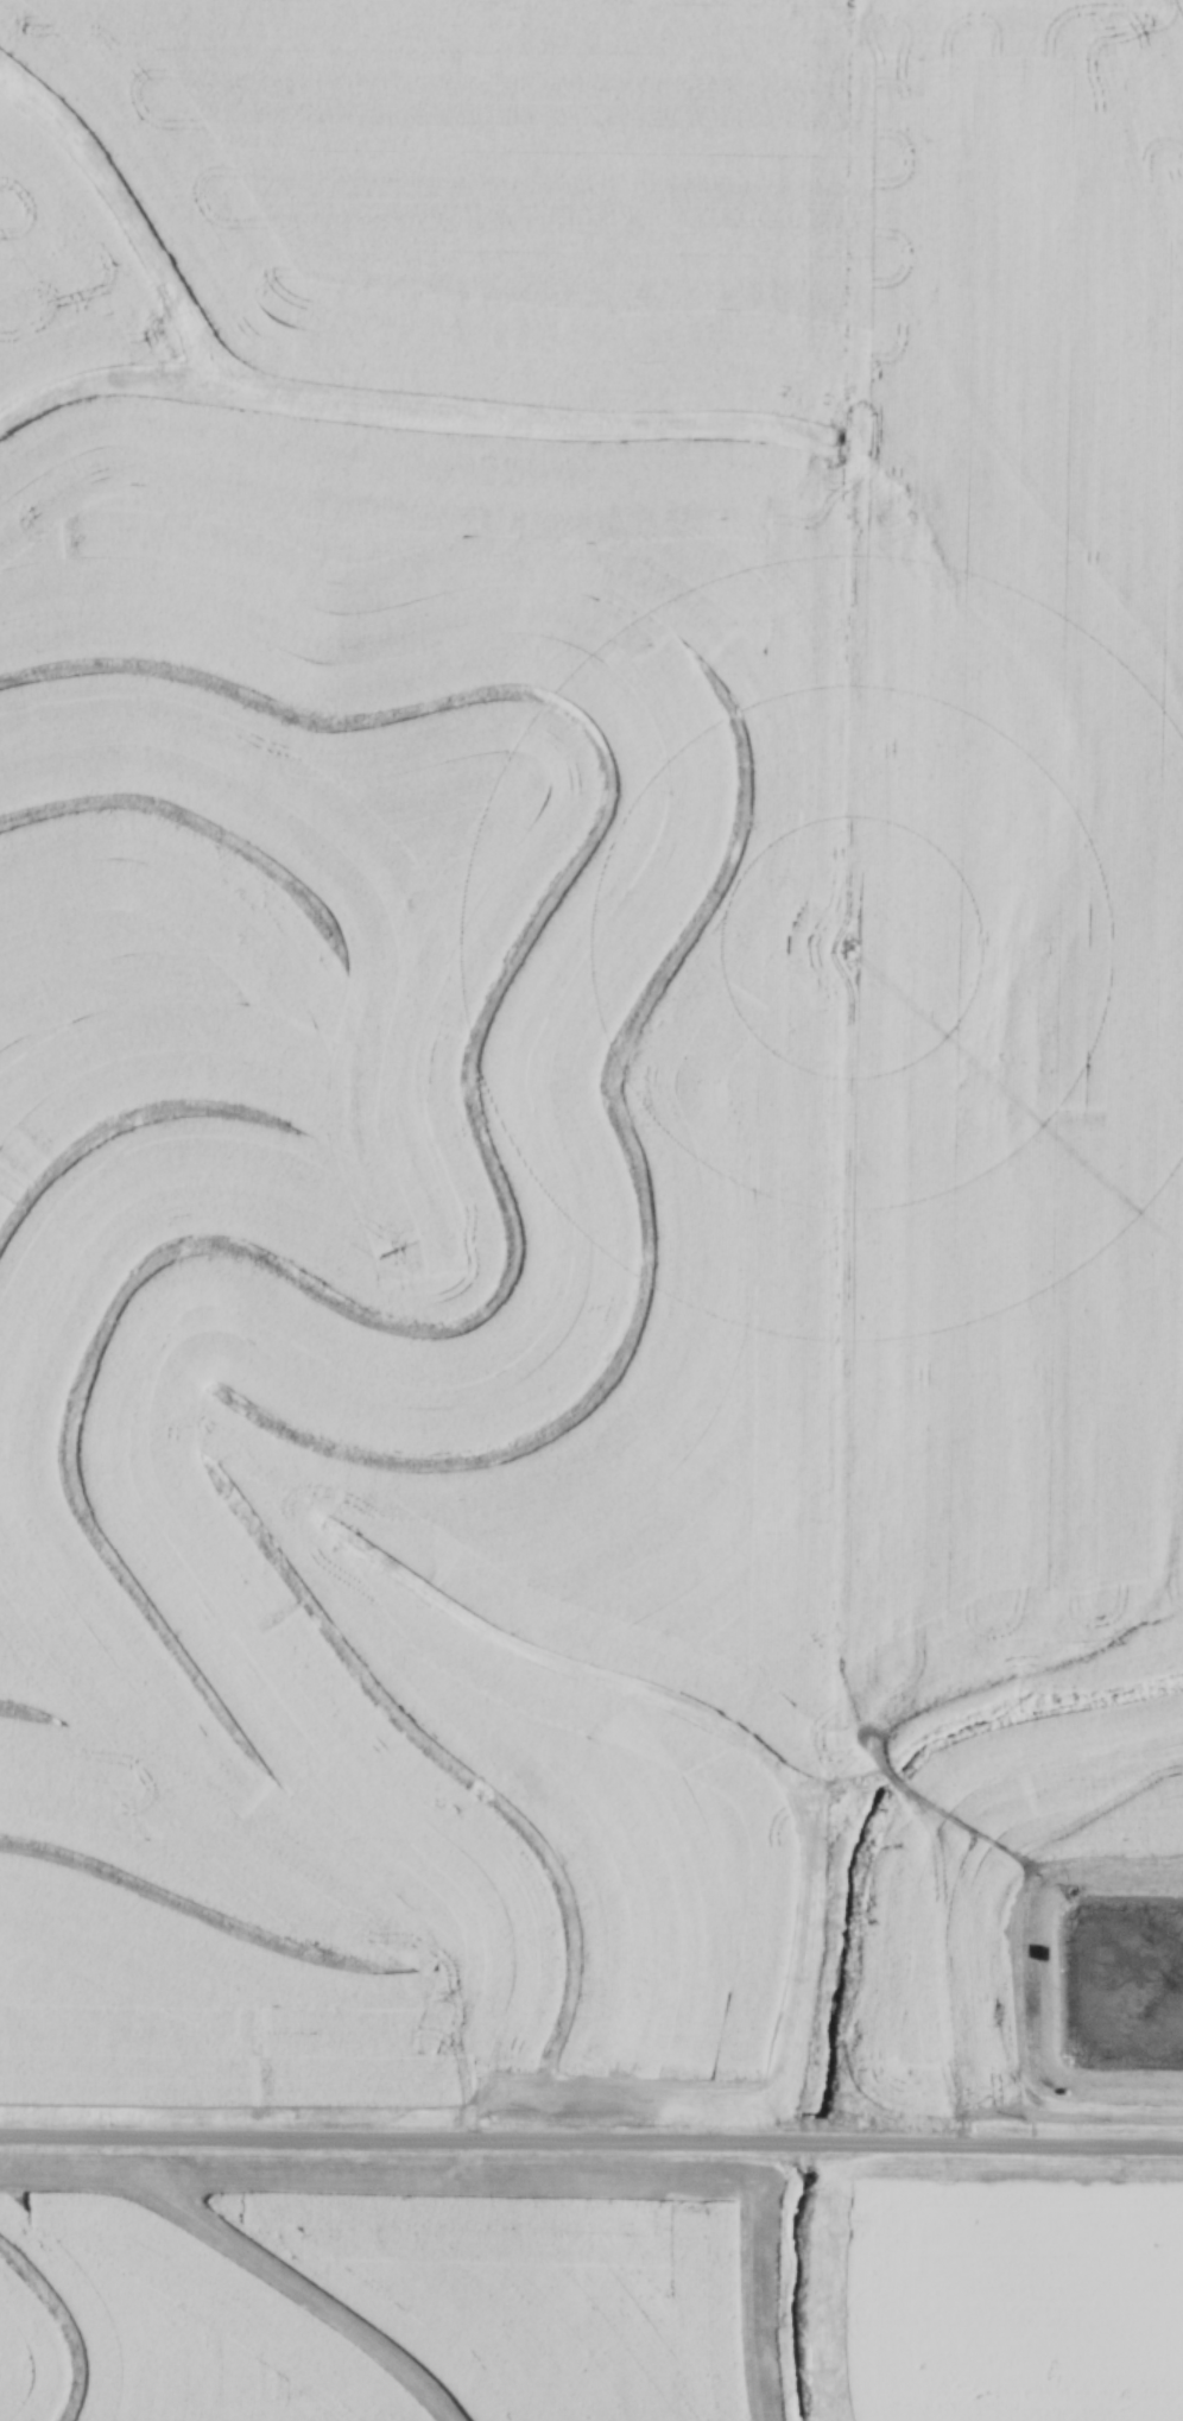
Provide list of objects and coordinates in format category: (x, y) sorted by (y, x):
road: (591, 2142)

